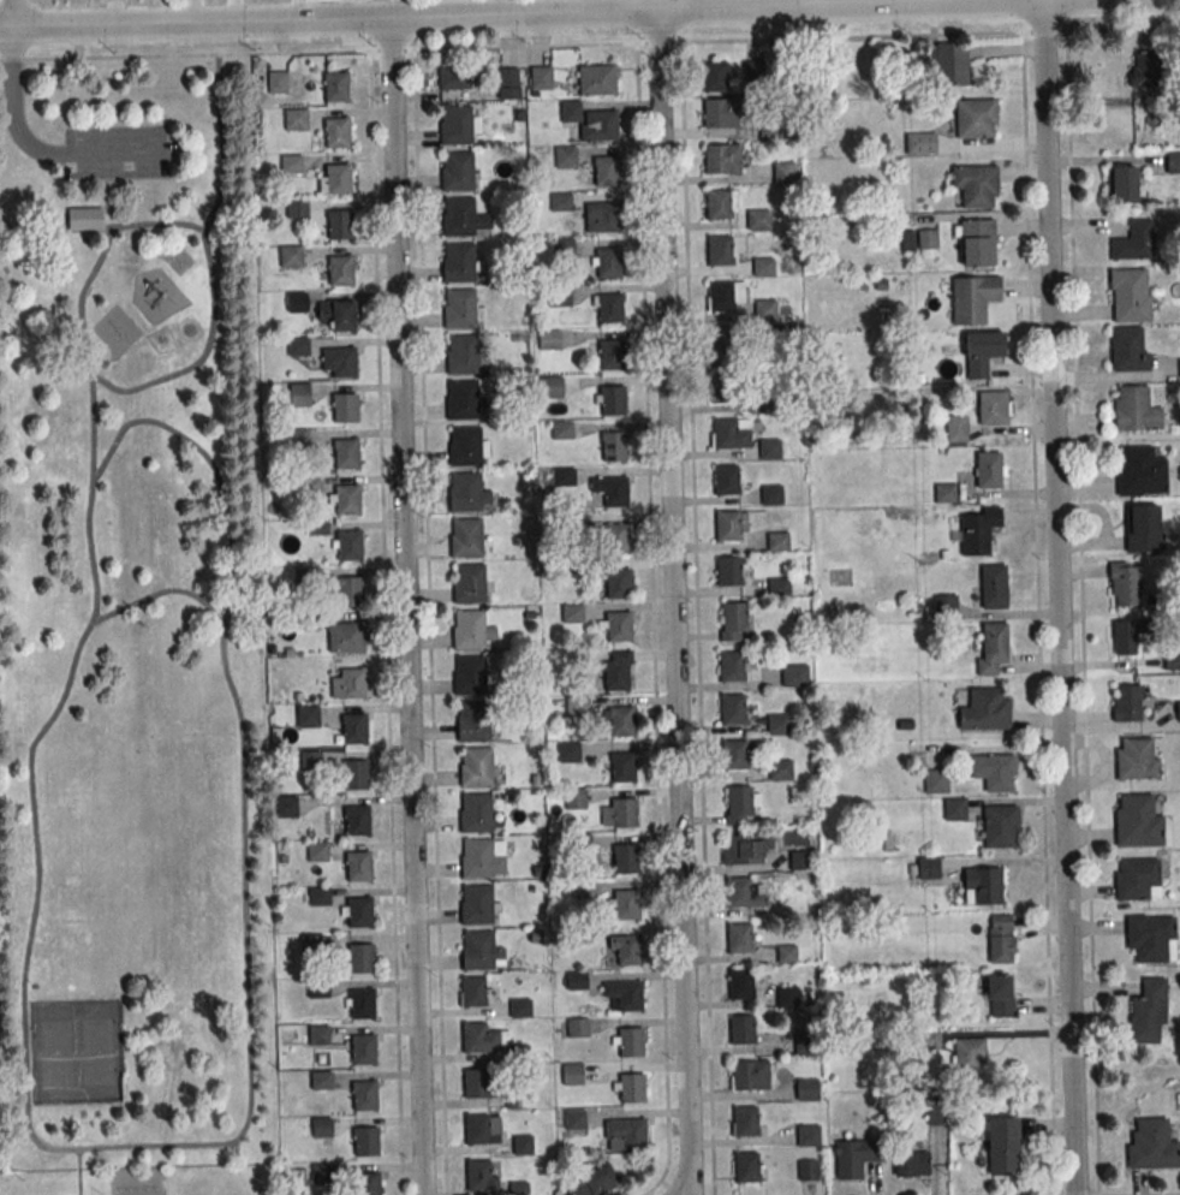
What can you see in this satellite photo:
road: (8, 13)
road: (522, 13)
road: (774, 37)
building: (950, 65)
building: (1144, 69)
building: (455, 70)
building: (715, 76)
building: (541, 77)
building: (595, 79)
building: (279, 81)
building: (511, 83)
building: (336, 87)
road: (11, 105)
building: (716, 113)
building: (976, 118)
building: (296, 119)
building: (591, 121)
building: (457, 124)
building: (336, 132)
building: (920, 142)
parking lot: (117, 150)
building: (717, 159)
building: (1173, 161)
building: (292, 164)
building: (606, 165)
building: (458, 171)
building: (785, 172)
building: (339, 178)
building: (1122, 182)
building: (976, 185)
building: (719, 204)
building: (298, 208)
road: (210, 214)
building: (603, 215)
building: (459, 216)
building: (85, 218)
building: (758, 220)
building: (340, 224)
building: (928, 238)
building: (1133, 240)
building: (976, 242)
building: (720, 250)
building: (291, 255)
building: (459, 262)
building: (608, 262)
building: (763, 266)
building: (341, 269)
building: (1130, 295)
building: (721, 296)
building: (972, 297)
building: (298, 302)
building: (460, 308)
building: (610, 308)
building: (765, 309)
building: (344, 315)
building: (550, 339)
building: (723, 341)
building: (298, 345)
building: (977, 349)
building: (1127, 349)
building: (463, 353)
building: (612, 355)
building: (344, 362)
building: (1179, 369)
building: (552, 386)
road: (137, 387)
building: (725, 388)
building: (463, 399)
building: (614, 399)
building: (761, 405)
building: (346, 408)
building: (990, 408)
building: (1134, 410)
road: (169, 428)
building: (726, 433)
building: (466, 445)
building: (614, 446)
building: (774, 448)
building: (346, 453)
building: (988, 469)
building: (1139, 471)
building: (726, 478)
building: (466, 492)
building: (615, 492)
building: (944, 492)
building: (771, 494)
building: (347, 499)
building: (728, 524)
building: (1142, 528)
building: (972, 535)
building: (467, 537)
building: (616, 539)
building: (779, 541)
building: (350, 545)
building: (728, 571)
building: (993, 582)
building: (470, 583)
building: (619, 583)
building: (1124, 583)
building: (779, 587)
building: (352, 591)
road: (157, 593)
road: (1060, 596)
road: (651, 599)
road: (674, 602)
building: (944, 604)
road: (405, 605)
building: (572, 612)
road: (1080, 613)
building: (734, 616)
road: (696, 618)
park: (132, 619)
road: (385, 622)
road: (429, 622)
building: (618, 625)
building: (470, 629)
building: (1127, 635)
building: (352, 636)
building: (994, 640)
building: (1167, 660)
building: (732, 666)
building: (618, 671)
building: (470, 674)
building: (794, 674)
building: (353, 683)
building: (1127, 702)
building: (981, 704)
building: (576, 706)
building: (732, 708)
building: (1178, 711)
building: (473, 720)
building: (621, 720)
building: (779, 724)
building: (353, 729)
building: (568, 751)
building: (734, 754)
building: (1136, 759)
building: (310, 760)
building: (476, 766)
building: (622, 766)
building: (780, 768)
building: (993, 771)
building: (356, 773)
building: (936, 780)
building: (576, 797)
building: (739, 799)
building: (287, 807)
building: (954, 809)
building: (476, 813)
building: (624, 813)
building: (358, 820)
building: (1137, 821)
building: (999, 824)
building: (738, 849)
building: (317, 851)
building: (477, 857)
building: (626, 858)
park: (149, 863)
building: (359, 866)
building: (929, 867)
building: (1134, 876)
building: (984, 885)
building: (738, 891)
building: (318, 896)
building: (477, 904)
building: (626, 904)
building: (360, 911)
building: (1149, 937)
building: (739, 938)
building: (1000, 939)
building: (312, 943)
building: (478, 950)
building: (628, 950)
building: (786, 953)
building: (363, 957)
building: (577, 980)
building: (740, 983)
building: (473, 991)
building: (999, 994)
building: (630, 995)
building: (787, 997)
building: (363, 1004)
building: (520, 1007)
building: (1148, 1010)
building: (578, 1027)
building: (741, 1029)
building: (320, 1034)
building: (475, 1036)
building: (929, 1039)
building: (631, 1042)
building: (364, 1048)
park: (76, 1051)
building: (967, 1053)
building: (573, 1074)
building: (744, 1075)
building: (322, 1080)
building: (476, 1082)
building: (632, 1087)
building: (806, 1089)
building: (365, 1095)
building: (576, 1119)
building: (744, 1120)
building: (322, 1126)
building: (478, 1128)
building: (633, 1134)
building: (807, 1135)
building: (366, 1141)
building: (523, 1145)
building: (1151, 1145)
building: (1001, 1146)
road: (59, 1147)
building: (856, 1157)
building: (911, 1164)
building: (746, 1166)
building: (807, 1170)
building: (322, 1172)
building: (481, 1175)
road: (660, 1178)
building: (590, 1179)
building: (368, 1183)
building: (519, 1188)

